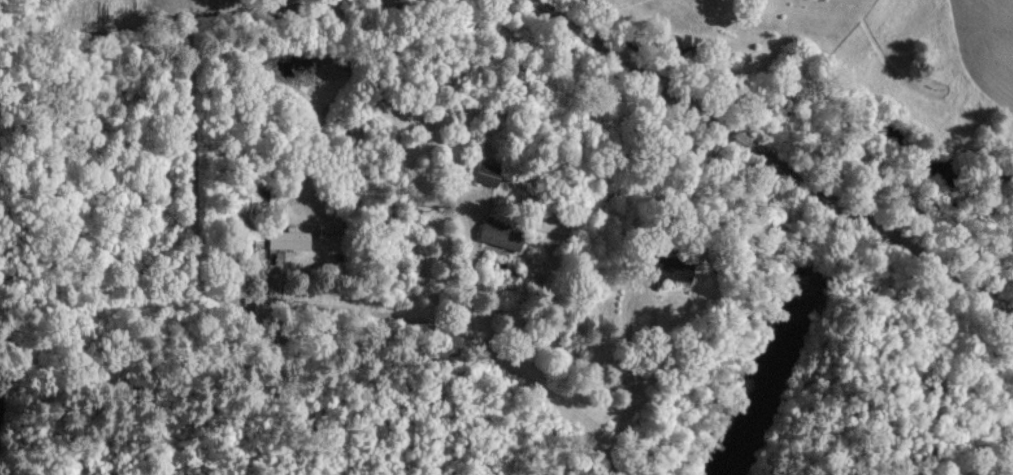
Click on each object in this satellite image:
railway: (772, 158)
building: (491, 172)
building: (503, 234)
building: (290, 239)
road: (369, 312)
road: (505, 356)
road: (635, 390)

